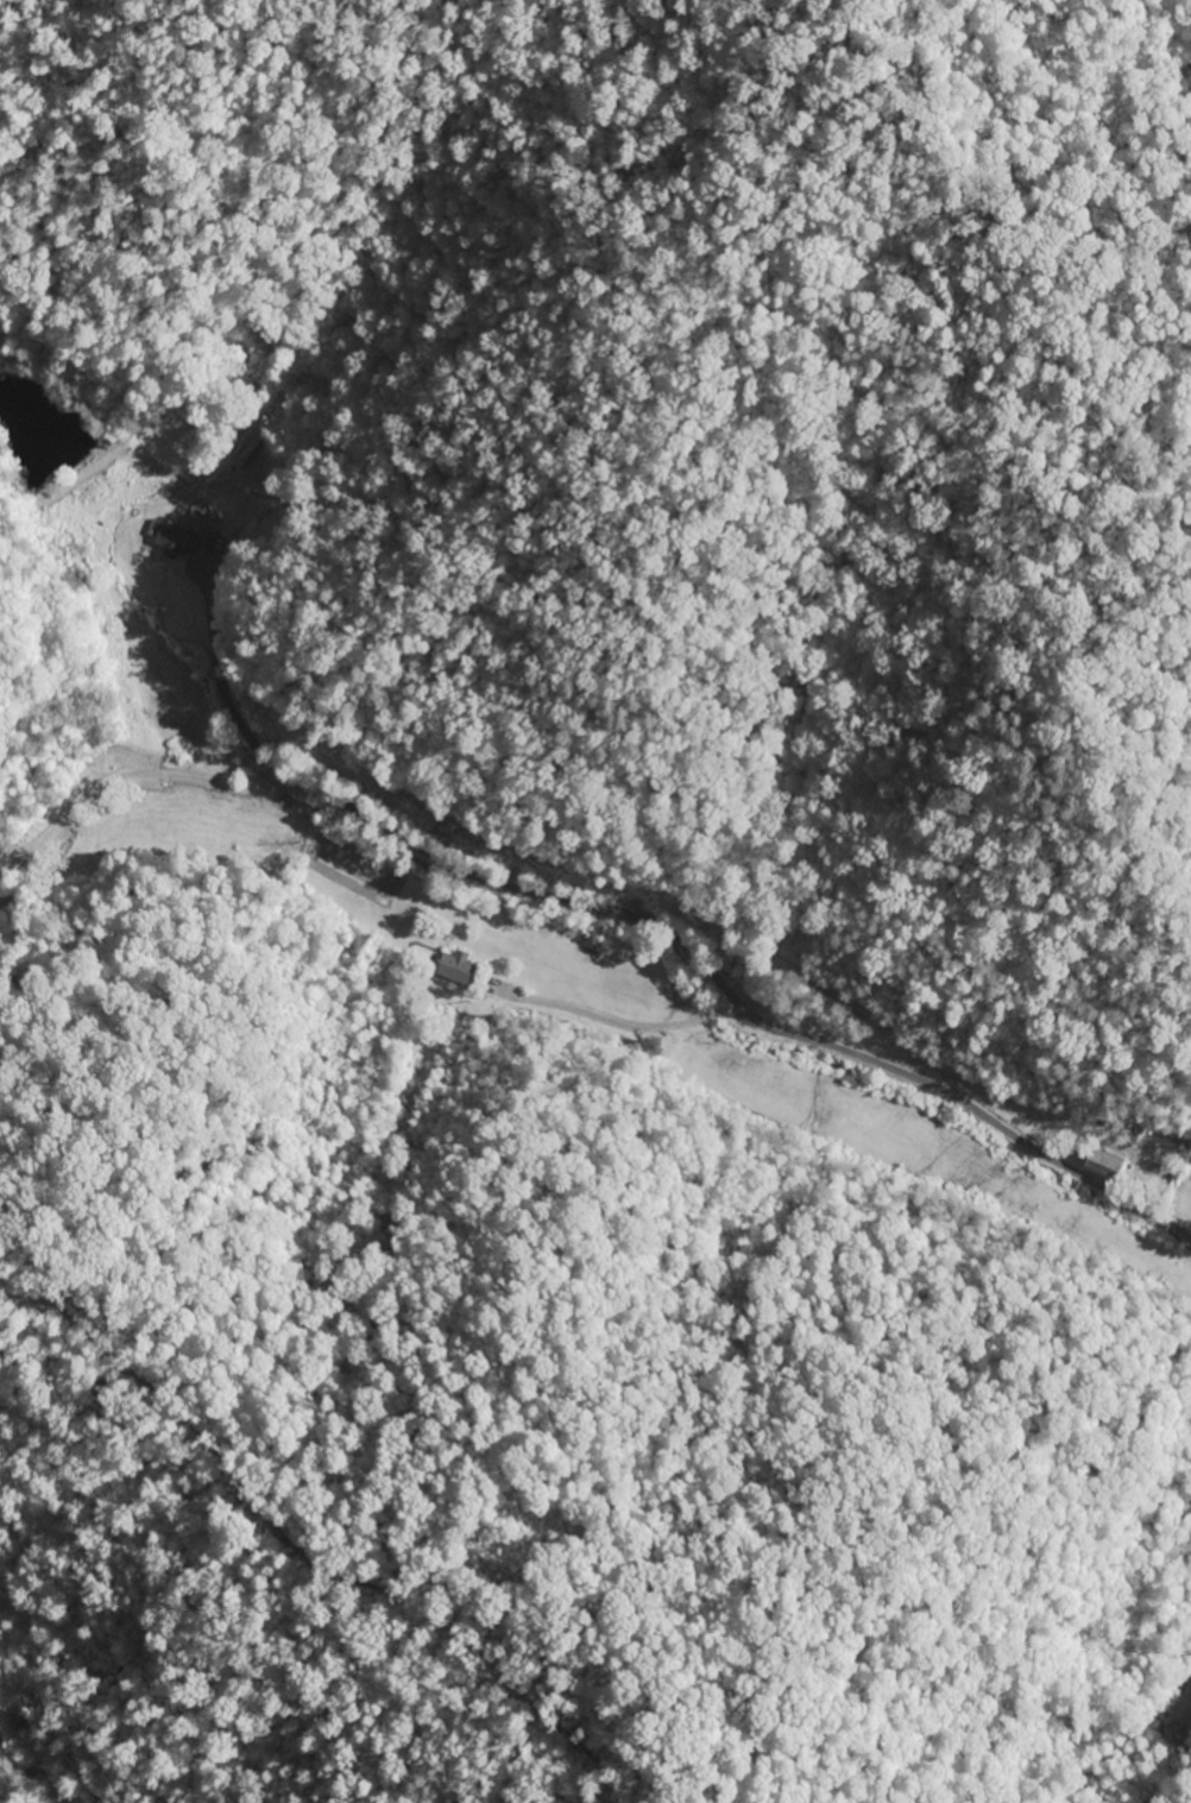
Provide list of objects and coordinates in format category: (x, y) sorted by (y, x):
building: (176, 542)
road: (733, 997)

